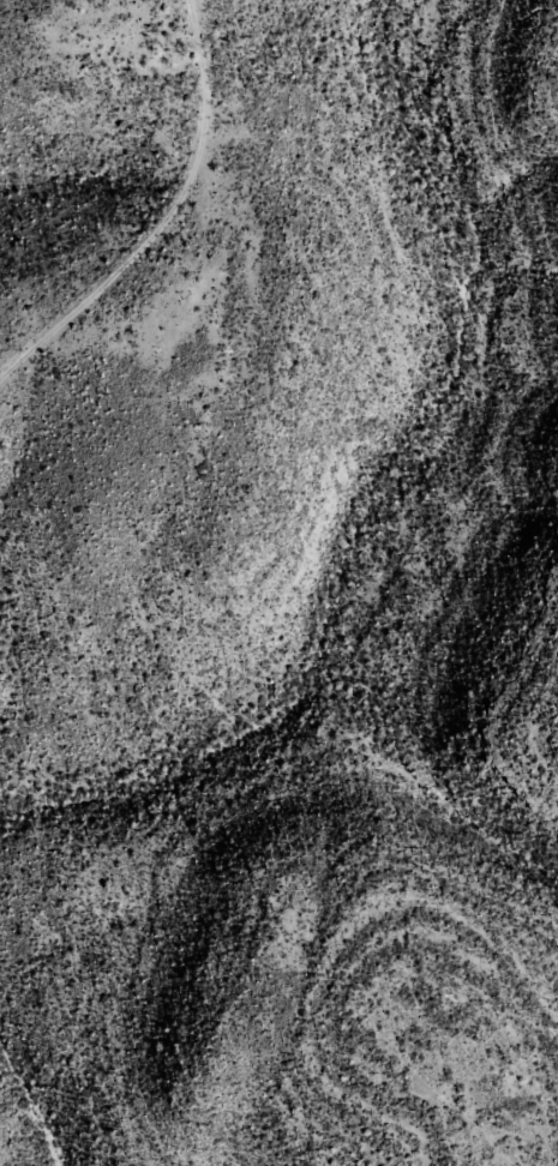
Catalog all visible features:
road: (162, 250)

